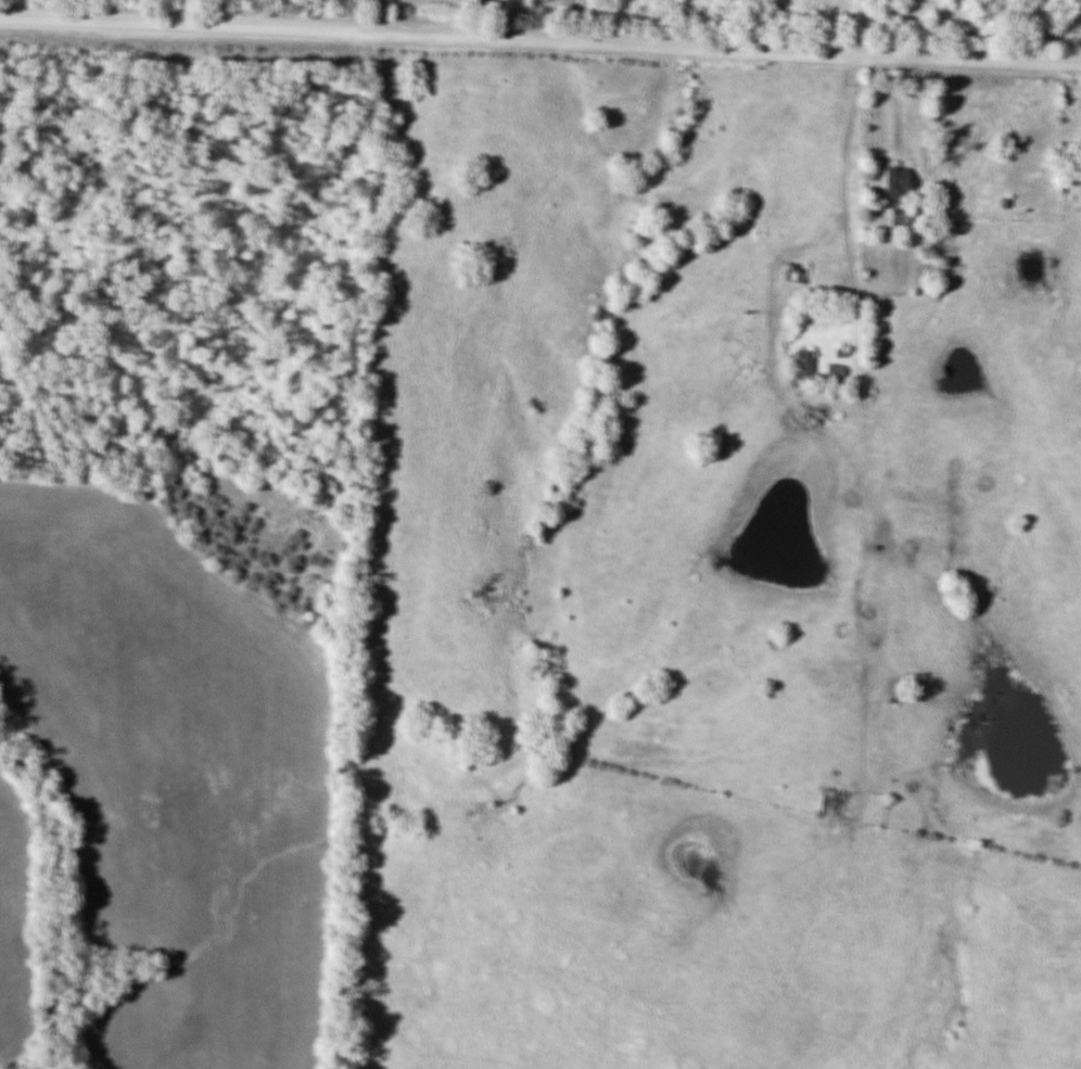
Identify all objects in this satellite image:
road: (471, 15)
road: (540, 36)
road: (866, 136)
building: (895, 195)
road: (822, 222)
building: (799, 365)
building: (829, 374)
building: (828, 803)

